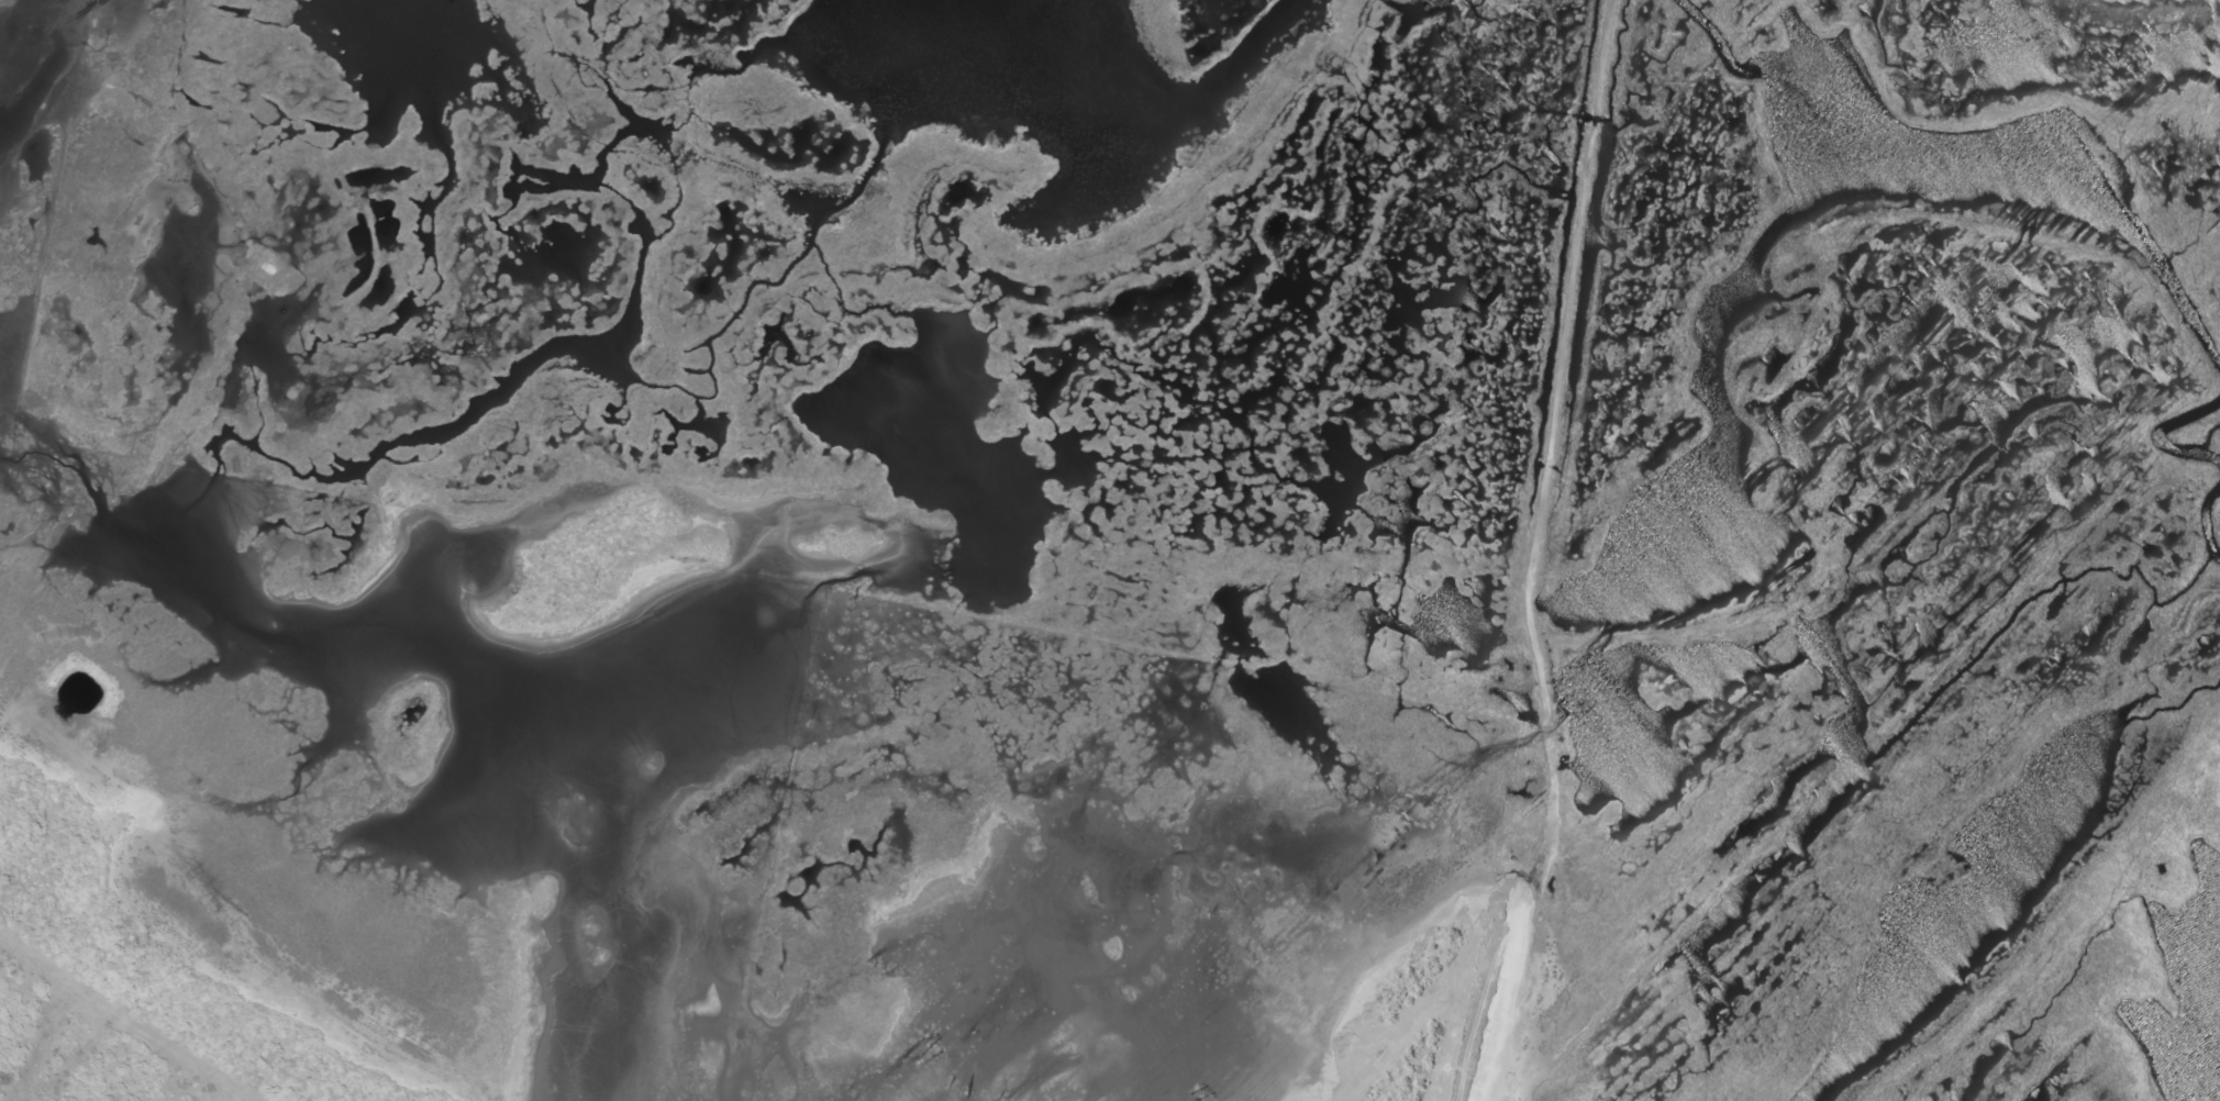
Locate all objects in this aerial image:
power tower: (1983, 310)
power tower: (1583, 707)
road: (1532, 941)
power tower: (1192, 1097)

